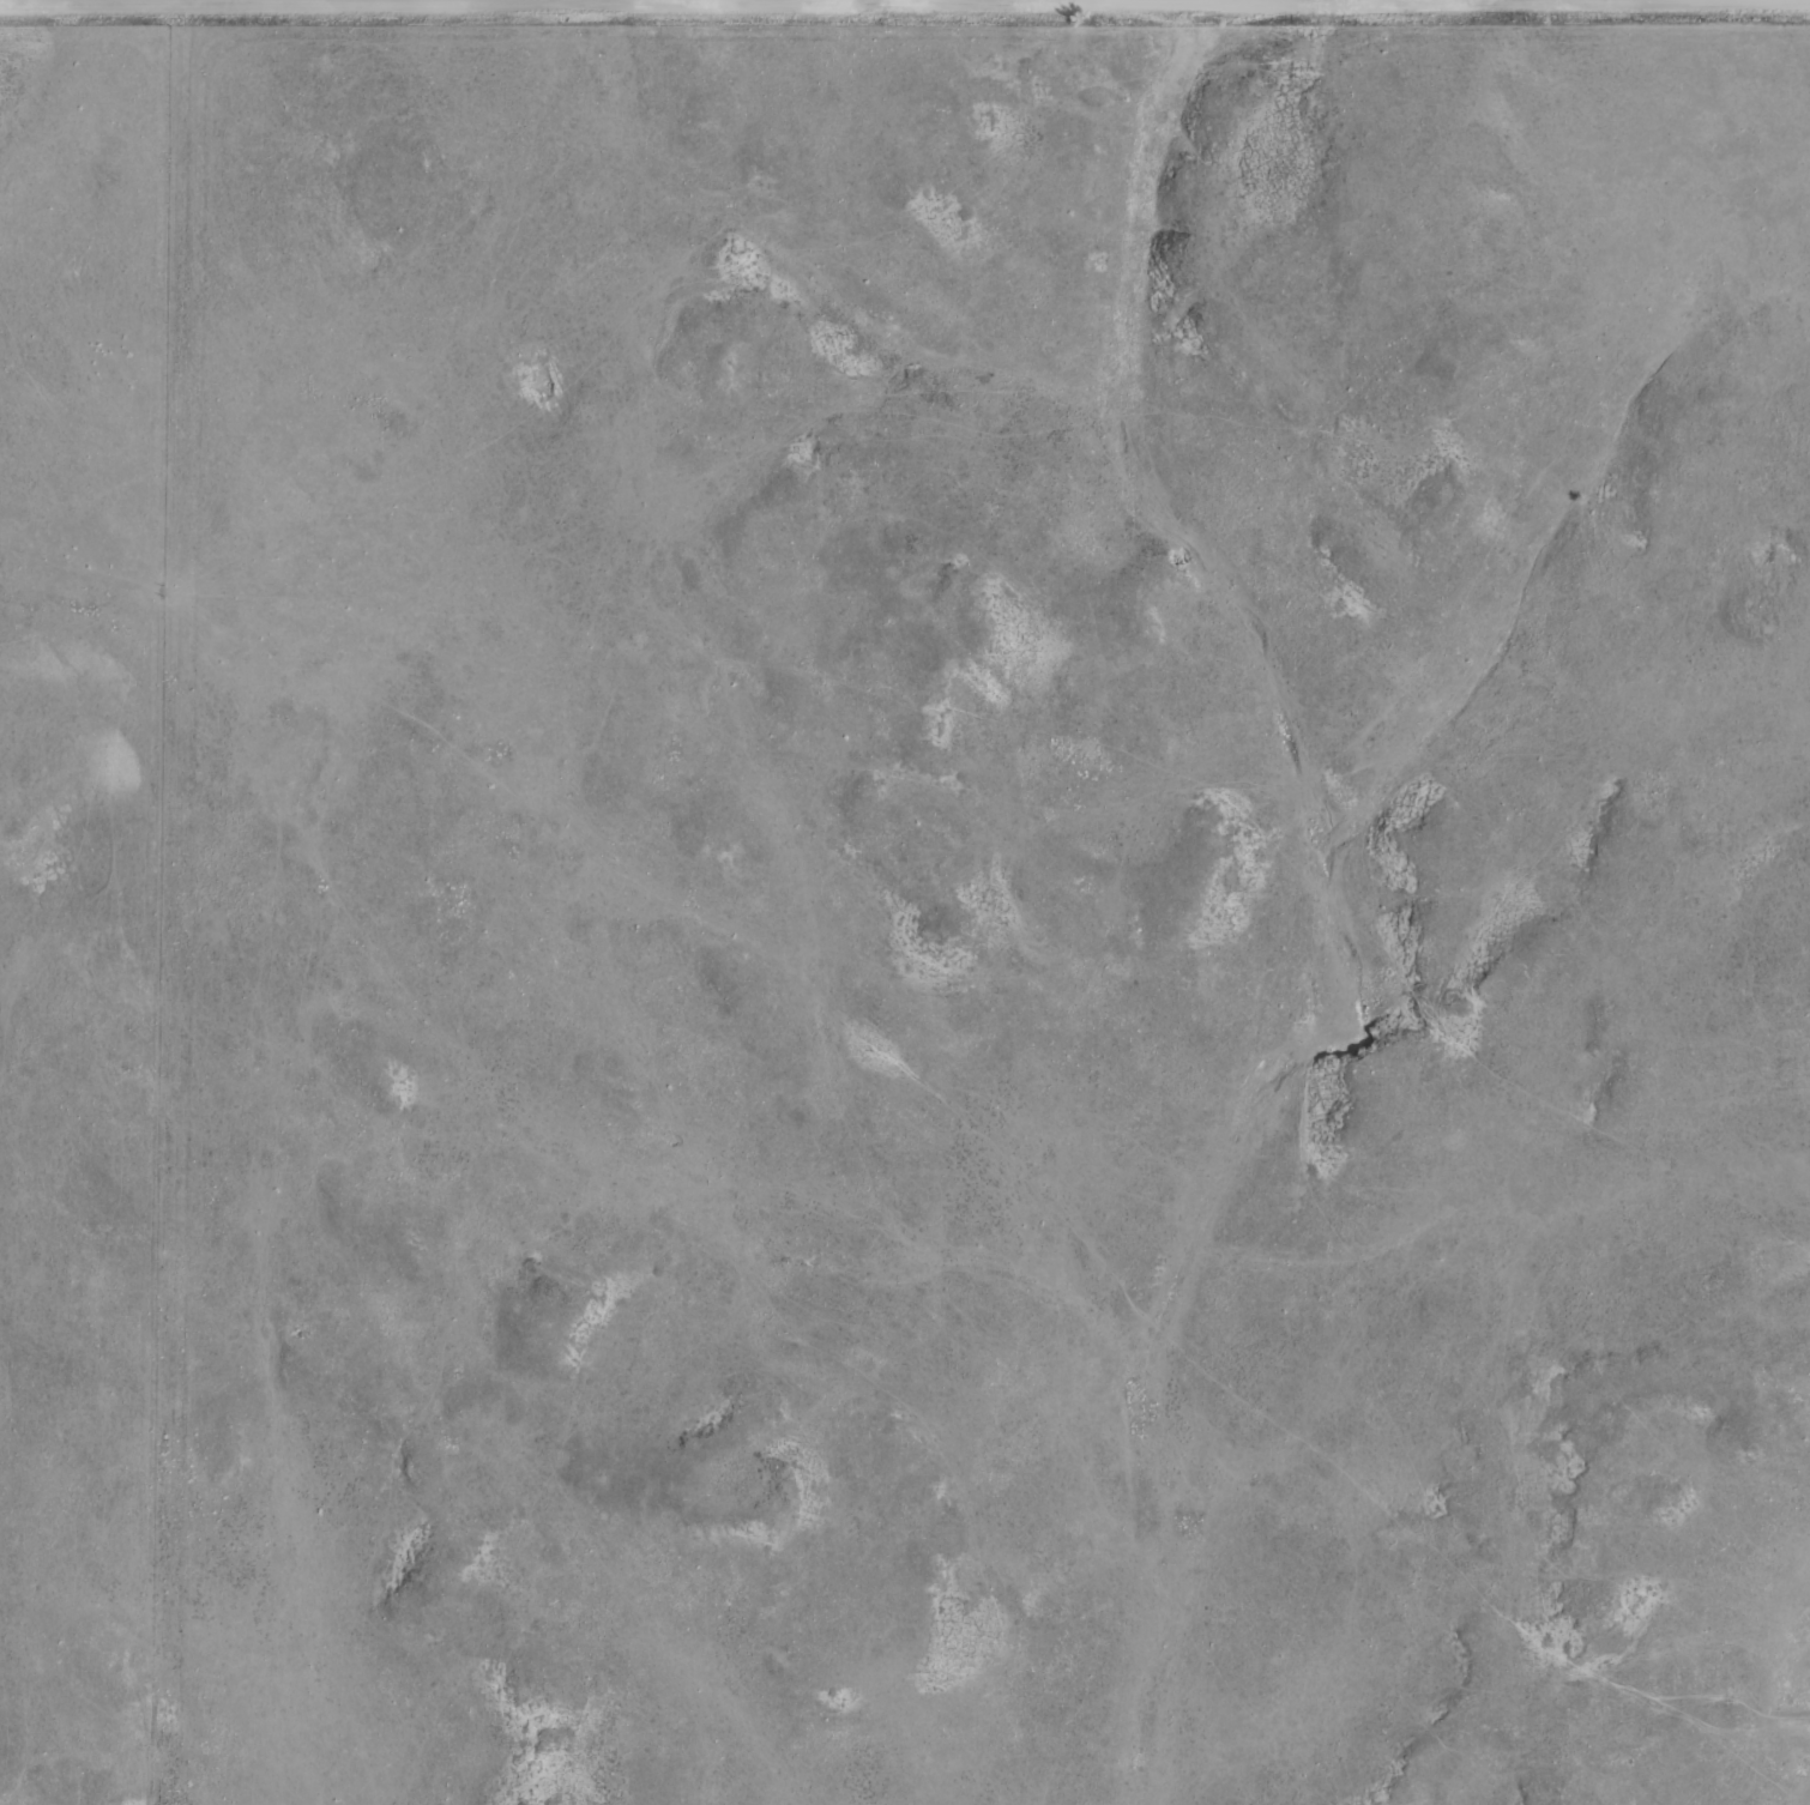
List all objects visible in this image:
road: (905, 4)
road: (216, 905)

